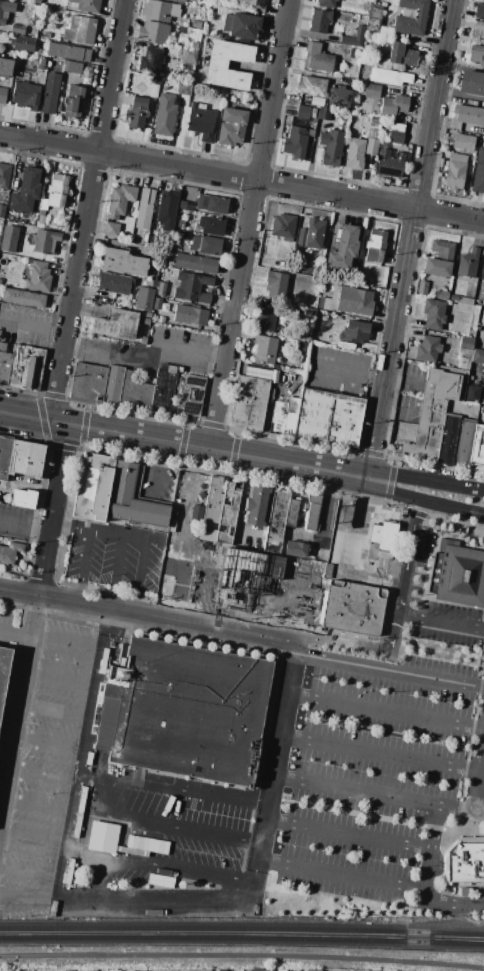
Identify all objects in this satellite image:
building: (483, 0)
building: (177, 1)
building: (211, 1)
building: (327, 3)
building: (252, 4)
building: (87, 5)
building: (5, 10)
building: (159, 11)
building: (377, 11)
building: (479, 12)
building: (56, 13)
building: (35, 15)
building: (411, 17)
building: (319, 21)
building: (227, 23)
building: (195, 24)
building: (373, 25)
building: (244, 26)
building: (17, 29)
building: (80, 30)
building: (478, 30)
building: (153, 33)
building: (47, 35)
building: (354, 38)
building: (22, 43)
building: (194, 46)
building: (39, 51)
building: (68, 52)
building: (353, 53)
building: (402, 55)
building: (476, 55)
building: (188, 56)
building: (317, 58)
building: (40, 60)
building: (150, 61)
building: (72, 67)
building: (216, 67)
building: (5, 68)
building: (173, 71)
building: (389, 77)
building: (154, 80)
building: (471, 83)
building: (311, 86)
building: (183, 88)
building: (153, 90)
building: (369, 90)
building: (62, 91)
building: (88, 92)
building: (50, 93)
building: (2, 95)
building: (25, 95)
building: (339, 97)
building: (73, 102)
building: (317, 102)
building: (58, 105)
building: (393, 106)
building: (137, 112)
building: (302, 112)
building: (312, 113)
building: (324, 114)
building: (468, 114)
building: (164, 115)
building: (375, 120)
building: (200, 121)
building: (231, 127)
building: (396, 127)
building: (310, 133)
building: (395, 137)
building: (295, 142)
building: (464, 143)
building: (331, 147)
building: (371, 147)
building: (355, 153)
building: (389, 163)
building: (441, 163)
building: (455, 171)
building: (478, 172)
building: (4, 175)
road: (242, 177)
building: (57, 190)
building: (26, 192)
building: (188, 198)
building: (119, 200)
building: (43, 204)
building: (212, 204)
building: (144, 209)
building: (1, 210)
building: (167, 210)
building: (40, 212)
building: (39, 222)
building: (180, 224)
road: (248, 224)
building: (211, 226)
building: (283, 226)
building: (111, 229)
building: (311, 234)
road: (409, 239)
building: (45, 242)
building: (11, 243)
building: (206, 245)
building: (375, 246)
building: (344, 249)
building: (167, 254)
building: (439, 259)
building: (312, 260)
building: (123, 262)
building: (195, 263)
building: (282, 264)
building: (467, 264)
building: (482, 271)
building: (38, 277)
building: (1, 281)
building: (365, 282)
building: (114, 283)
building: (150, 284)
building: (274, 285)
building: (422, 287)
building: (191, 288)
building: (160, 289)
building: (441, 295)
road: (72, 296)
building: (334, 297)
building: (23, 298)
building: (453, 298)
building: (144, 299)
building: (465, 300)
building: (355, 301)
building: (156, 303)
building: (321, 303)
building: (305, 314)
building: (434, 314)
building: (148, 315)
building: (189, 315)
building: (265, 317)
building: (146, 321)
building: (116, 324)
building: (354, 332)
building: (288, 335)
building: (143, 340)
building: (465, 343)
building: (300, 347)
road: (119, 349)
building: (264, 349)
building: (427, 349)
building: (477, 356)
building: (463, 359)
building: (4, 363)
building: (275, 367)
building: (25, 368)
road: (364, 375)
building: (483, 375)
building: (476, 382)
building: (110, 386)
building: (189, 389)
building: (295, 392)
building: (472, 394)
road: (52, 395)
building: (249, 403)
building: (435, 409)
road: (396, 411)
building: (284, 416)
building: (328, 418)
road: (191, 422)
building: (447, 440)
road: (183, 444)
building: (462, 444)
road: (57, 445)
building: (477, 449)
road: (233, 450)
building: (5, 457)
building: (26, 458)
road: (394, 462)
road: (158, 468)
road: (425, 480)
building: (93, 487)
building: (24, 498)
building: (133, 498)
building: (314, 498)
building: (213, 500)
road: (423, 501)
building: (256, 506)
building: (292, 513)
road: (417, 513)
building: (227, 514)
building: (312, 517)
building: (276, 520)
road: (25, 524)
building: (375, 534)
building: (208, 535)
road: (134, 536)
building: (387, 536)
building: (295, 548)
building: (10, 553)
road: (344, 554)
road: (82, 564)
building: (220, 569)
road: (404, 574)
building: (457, 575)
building: (353, 608)
road: (196, 620)
road: (441, 622)
road: (13, 634)
road: (65, 640)
road: (340, 662)
building: (4, 670)
road: (58, 677)
road: (424, 679)
road: (18, 681)
road: (51, 710)
building: (187, 710)
road: (384, 714)
road: (88, 722)
road: (45, 743)
road: (272, 746)
road: (385, 757)
parking lot: (372, 759)
road: (38, 776)
road: (171, 781)
road: (376, 795)
road: (477, 795)
road: (35, 810)
road: (163, 825)
road: (431, 830)
road: (155, 862)
building: (464, 864)
road: (296, 865)
road: (43, 872)
road: (55, 886)
building: (465, 892)
road: (447, 903)
railway: (242, 930)
railway: (242, 940)
road: (242, 955)
park: (240, 960)
building: (181, 970)
building: (222, 970)
building: (261, 970)
building: (281, 970)
building: (313, 970)
building: (369, 970)

